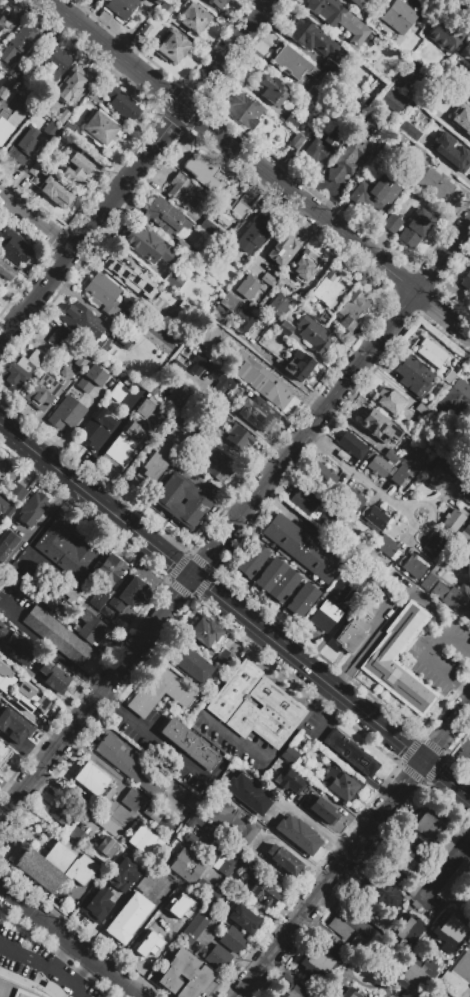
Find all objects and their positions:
building: (155, 2)
building: (357, 2)
building: (217, 3)
building: (466, 4)
building: (121, 7)
building: (166, 11)
building: (399, 16)
building: (193, 17)
building: (5, 19)
building: (340, 20)
building: (145, 29)
building: (443, 35)
building: (310, 37)
building: (23, 38)
building: (170, 47)
building: (56, 63)
building: (293, 64)
building: (330, 68)
building: (16, 73)
building: (415, 75)
building: (24, 78)
building: (72, 82)
building: (7, 83)
building: (456, 88)
building: (272, 90)
building: (311, 94)
building: (11, 96)
building: (447, 100)
building: (394, 101)
building: (119, 102)
building: (243, 109)
building: (463, 116)
building: (58, 117)
building: (385, 118)
building: (293, 120)
building: (373, 125)
building: (7, 128)
building: (50, 128)
building: (70, 129)
building: (101, 129)
building: (409, 130)
building: (296, 140)
building: (398, 141)
building: (23, 143)
road: (235, 144)
building: (322, 146)
building: (451, 152)
building: (416, 155)
building: (349, 157)
building: (50, 159)
building: (75, 167)
road: (135, 170)
building: (37, 172)
building: (205, 173)
building: (436, 181)
building: (182, 190)
building: (54, 191)
building: (372, 193)
building: (240, 204)
building: (223, 216)
building: (165, 217)
road: (36, 220)
building: (391, 223)
building: (206, 225)
building: (416, 228)
building: (254, 233)
building: (147, 245)
building: (180, 246)
building: (14, 247)
building: (282, 249)
building: (228, 253)
road: (444, 256)
building: (305, 265)
building: (6, 271)
building: (129, 277)
building: (270, 278)
building: (174, 280)
building: (466, 281)
building: (247, 287)
building: (327, 288)
building: (103, 293)
building: (299, 298)
building: (228, 301)
building: (176, 304)
building: (279, 306)
road: (444, 310)
building: (351, 311)
building: (323, 317)
building: (243, 321)
building: (83, 324)
building: (132, 324)
building: (286, 331)
building: (159, 334)
building: (314, 334)
building: (58, 337)
building: (123, 340)
building: (204, 342)
building: (235, 349)
building: (131, 350)
building: (429, 352)
building: (81, 360)
building: (299, 365)
building: (200, 367)
building: (21, 368)
road: (278, 368)
building: (155, 372)
building: (413, 376)
building: (449, 376)
building: (91, 378)
building: (248, 378)
building: (236, 390)
building: (42, 392)
building: (117, 392)
building: (275, 393)
building: (179, 396)
building: (456, 397)
building: (388, 400)
road: (329, 402)
building: (145, 409)
building: (421, 410)
building: (66, 413)
building: (258, 413)
building: (469, 415)
building: (223, 420)
building: (380, 426)
building: (97, 428)
road: (259, 434)
building: (238, 437)
building: (122, 444)
building: (350, 447)
building: (391, 456)
building: (158, 459)
building: (218, 465)
building: (378, 466)
road: (31, 468)
building: (406, 468)
building: (321, 473)
building: (440, 475)
road: (360, 478)
road: (36, 483)
building: (464, 491)
building: (17, 492)
road: (96, 499)
building: (350, 499)
building: (181, 501)
building: (315, 505)
building: (2, 506)
building: (33, 509)
building: (375, 517)
building: (453, 520)
building: (468, 522)
building: (465, 533)
building: (6, 544)
road: (215, 544)
building: (433, 544)
building: (388, 546)
building: (66, 547)
building: (301, 548)
building: (251, 560)
building: (412, 565)
building: (109, 567)
traffic signals: (192, 575)
building: (276, 580)
building: (47, 587)
building: (127, 592)
building: (450, 595)
building: (71, 597)
building: (301, 599)
building: (97, 600)
building: (328, 608)
building: (104, 611)
road: (389, 618)
road: (134, 622)
road: (109, 624)
building: (89, 627)
building: (2, 629)
building: (206, 634)
building: (350, 634)
building: (56, 635)
road: (455, 641)
building: (390, 645)
road: (284, 647)
building: (19, 649)
road: (50, 650)
building: (224, 658)
building: (190, 663)
road: (434, 663)
building: (53, 678)
building: (5, 679)
road: (107, 682)
road: (40, 684)
building: (233, 689)
building: (160, 692)
building: (29, 698)
building: (266, 714)
road: (30, 718)
building: (14, 725)
road: (446, 727)
road: (154, 739)
road: (399, 739)
building: (189, 744)
road: (19, 751)
building: (3, 752)
building: (350, 752)
road: (275, 754)
building: (289, 755)
traffic signals: (422, 757)
building: (136, 773)
road: (446, 776)
building: (257, 778)
building: (90, 779)
building: (291, 781)
building: (341, 784)
road: (7, 792)
building: (246, 793)
building: (108, 796)
building: (132, 799)
building: (192, 801)
road: (114, 802)
road: (11, 805)
building: (322, 810)
building: (151, 813)
building: (60, 814)
road: (310, 822)
building: (196, 823)
building: (231, 823)
building: (112, 828)
building: (427, 828)
building: (298, 834)
building: (77, 835)
building: (449, 838)
building: (144, 841)
building: (203, 843)
building: (107, 847)
road: (292, 853)
building: (283, 860)
building: (397, 860)
road: (447, 862)
building: (54, 865)
building: (185, 866)
building: (226, 870)
road: (329, 876)
building: (112, 877)
building: (149, 878)
building: (469, 878)
building: (454, 879)
building: (417, 885)
building: (381, 891)
building: (209, 893)
building: (262, 893)
building: (182, 894)
road: (249, 904)
road: (331, 904)
building: (95, 906)
building: (416, 907)
building: (128, 918)
building: (243, 918)
building: (376, 919)
road: (342, 920)
building: (195, 925)
building: (339, 928)
building: (405, 928)
building: (451, 928)
road: (136, 929)
building: (157, 933)
building: (232, 939)
road: (69, 941)
building: (360, 945)
building: (217, 957)
road: (39, 959)
building: (318, 960)
building: (413, 975)
building: (456, 976)
building: (186, 977)
road: (67, 980)
building: (20, 987)
building: (290, 988)
building: (348, 993)
building: (332, 996)

